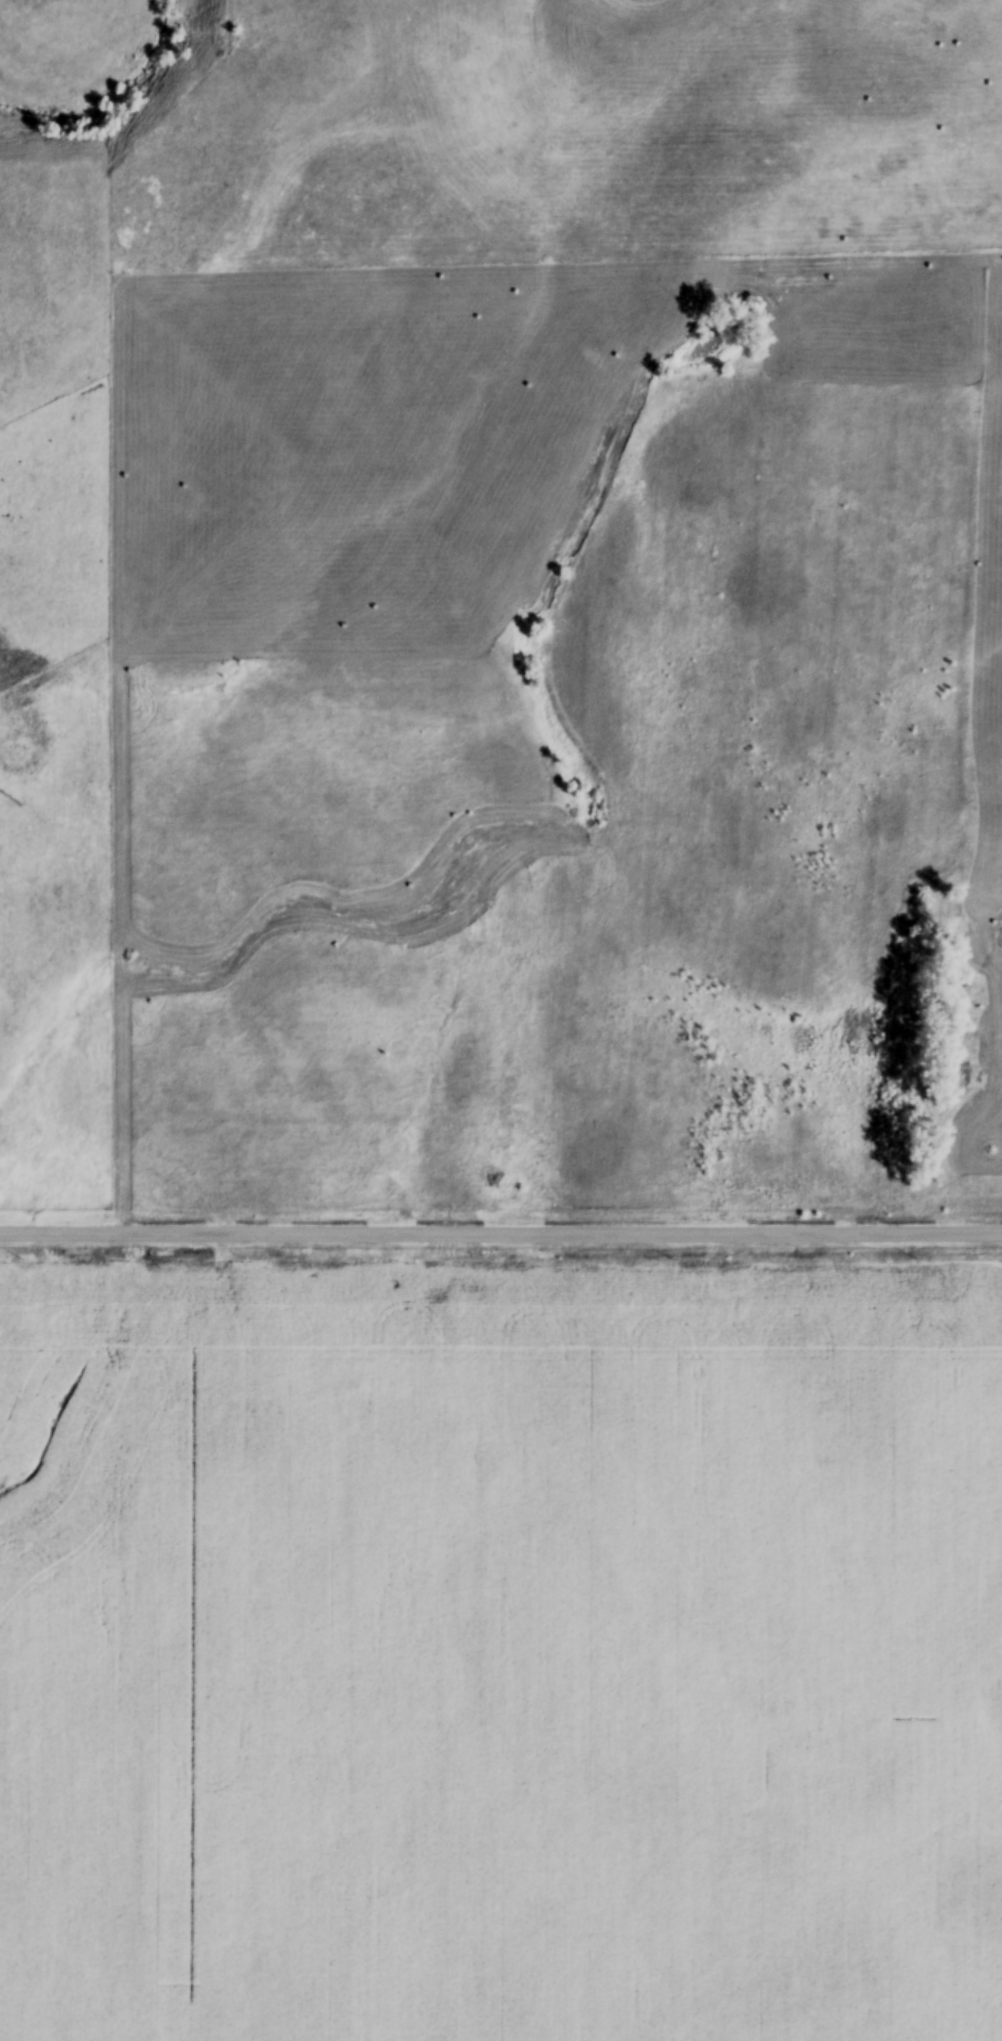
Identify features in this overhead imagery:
road: (501, 1230)

